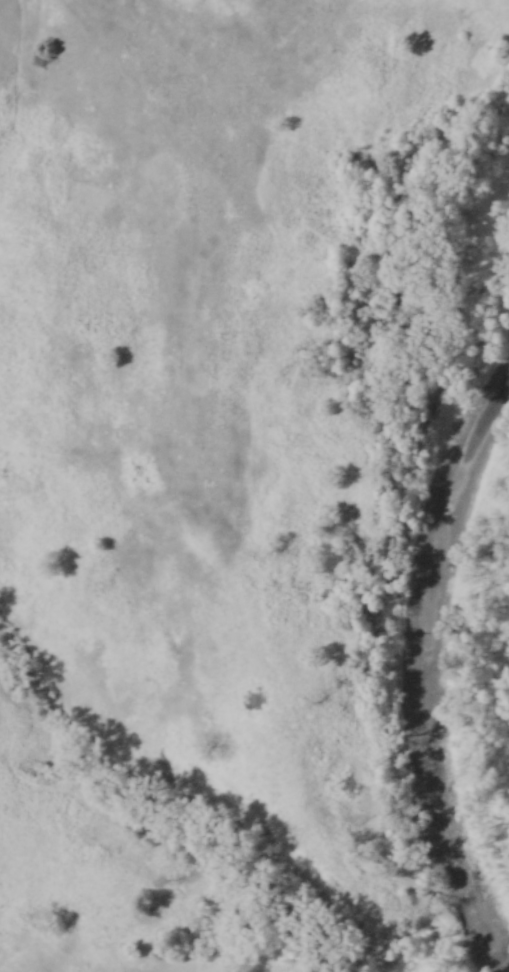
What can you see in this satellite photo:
park: (254, 486)

